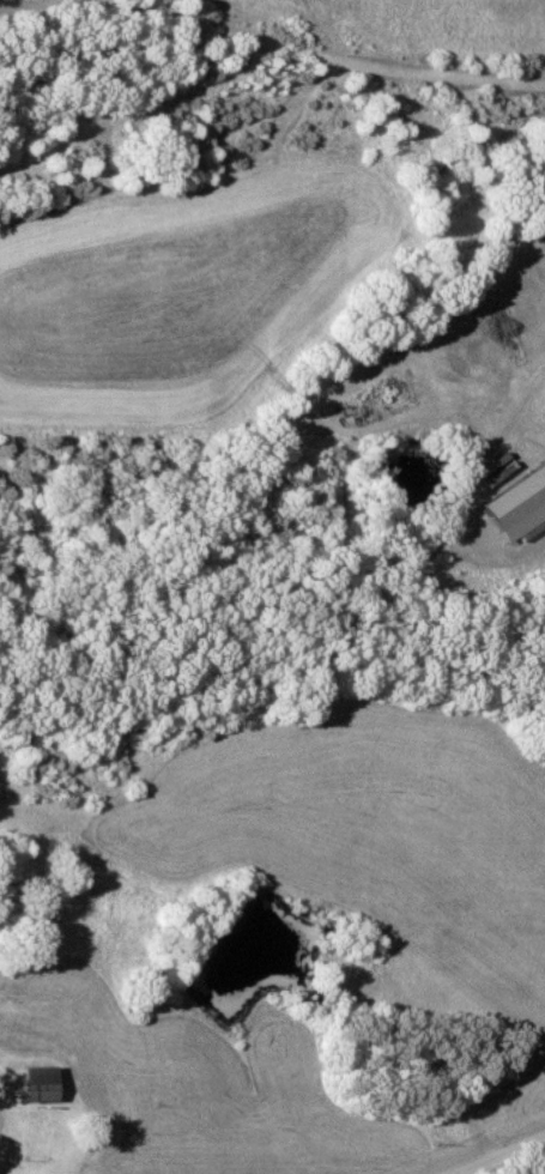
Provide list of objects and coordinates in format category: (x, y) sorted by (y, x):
building: (510, 503)
building: (30, 1084)
building: (485, 1090)

